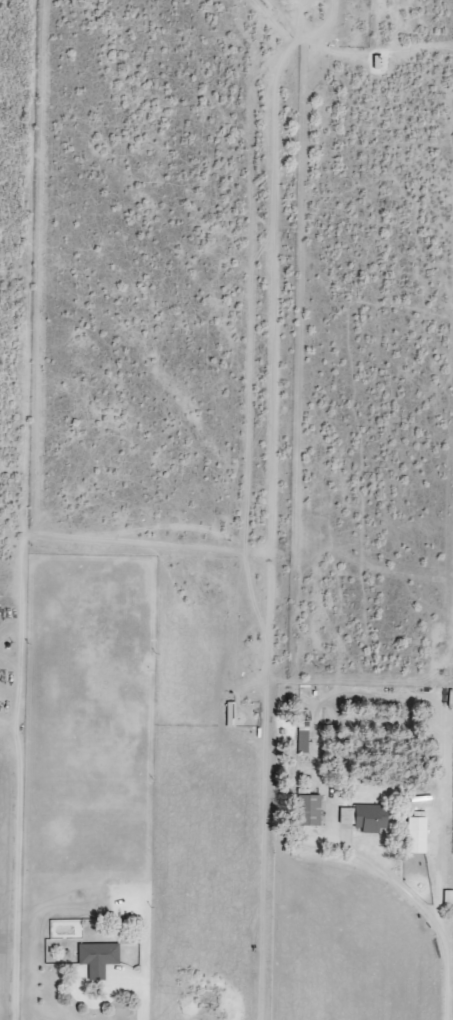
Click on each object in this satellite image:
building: (303, 739)
building: (307, 808)
building: (363, 816)
building: (414, 833)
road: (15, 836)
building: (447, 896)
building: (96, 957)

